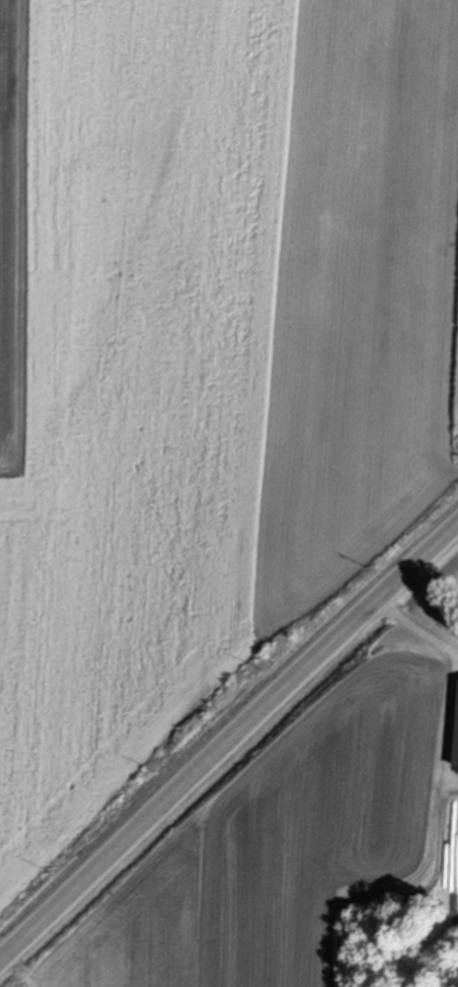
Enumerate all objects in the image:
road: (416, 628)
building: (455, 735)
road: (229, 742)

